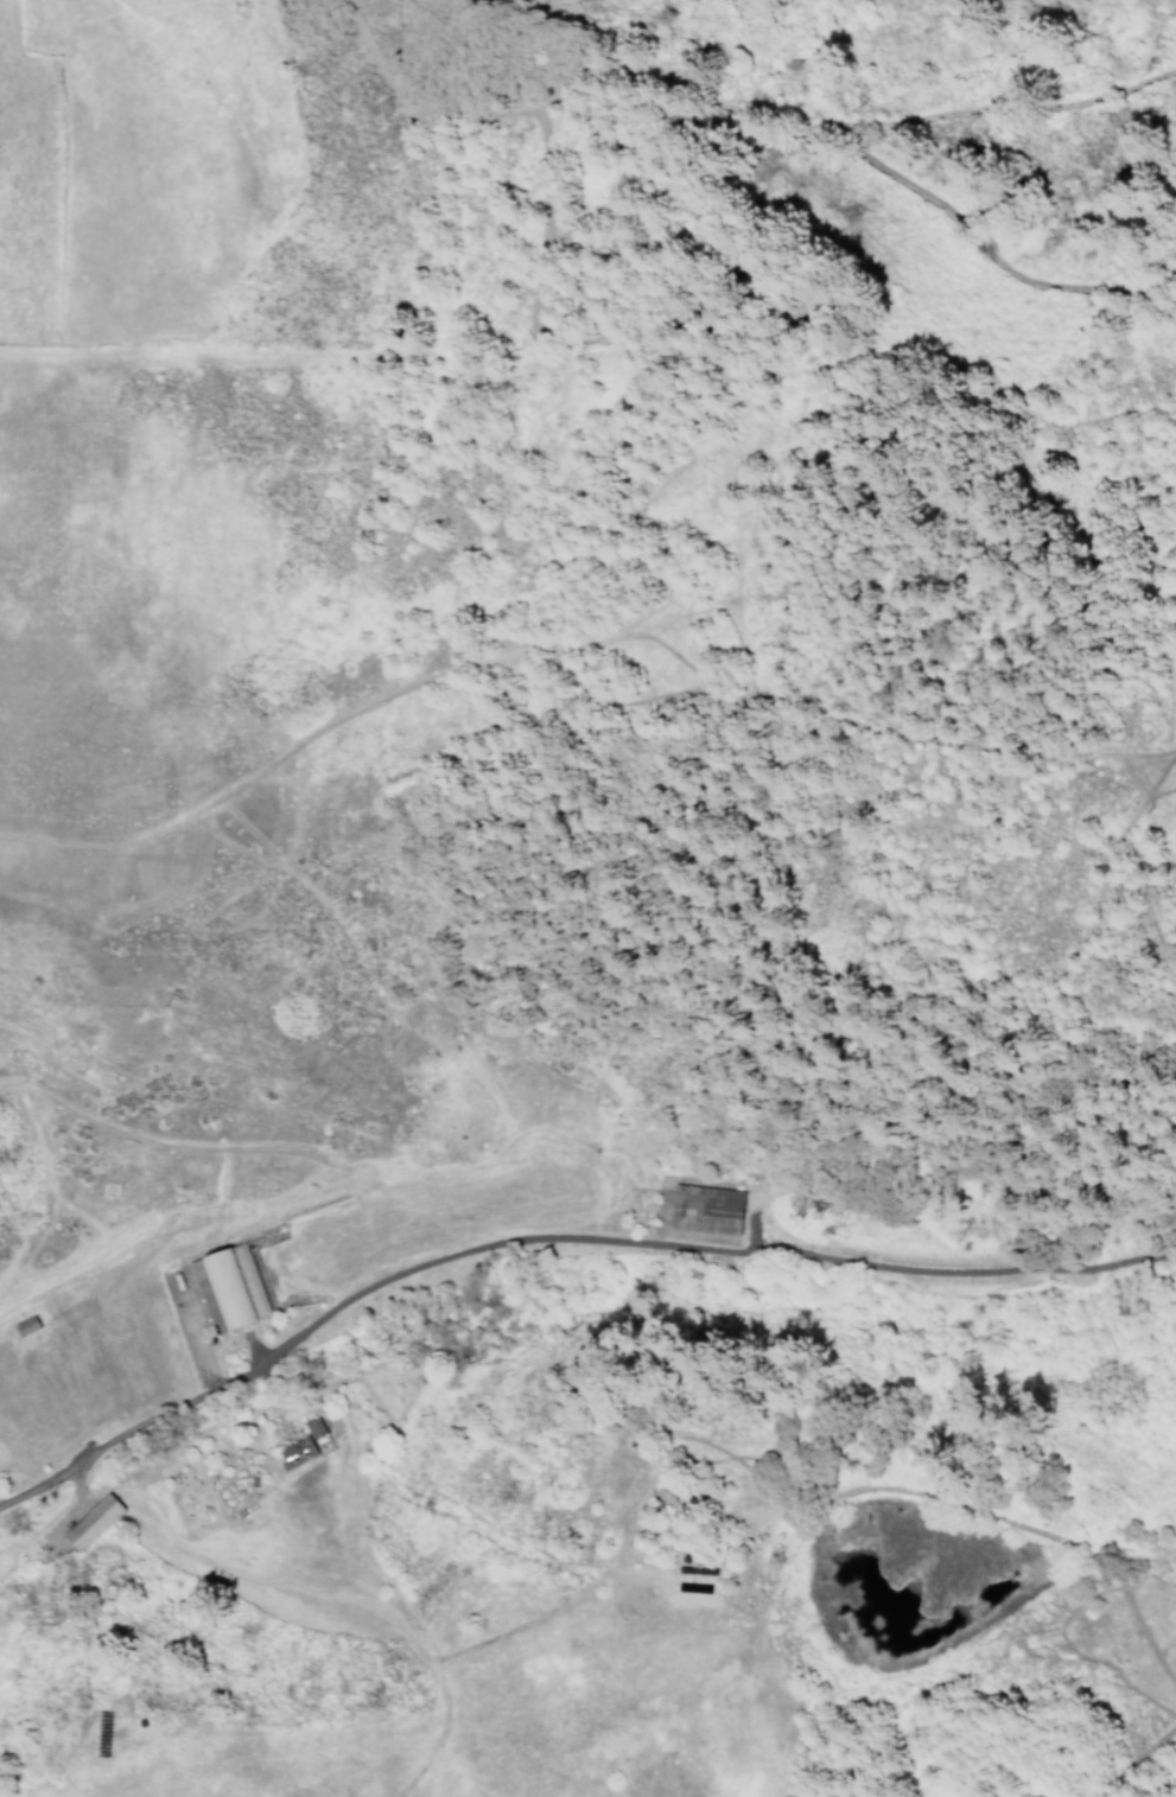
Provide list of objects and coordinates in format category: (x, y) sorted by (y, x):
building: (708, 1209)
road: (554, 1242)
building: (230, 1288)
building: (304, 1444)
building: (93, 1521)

